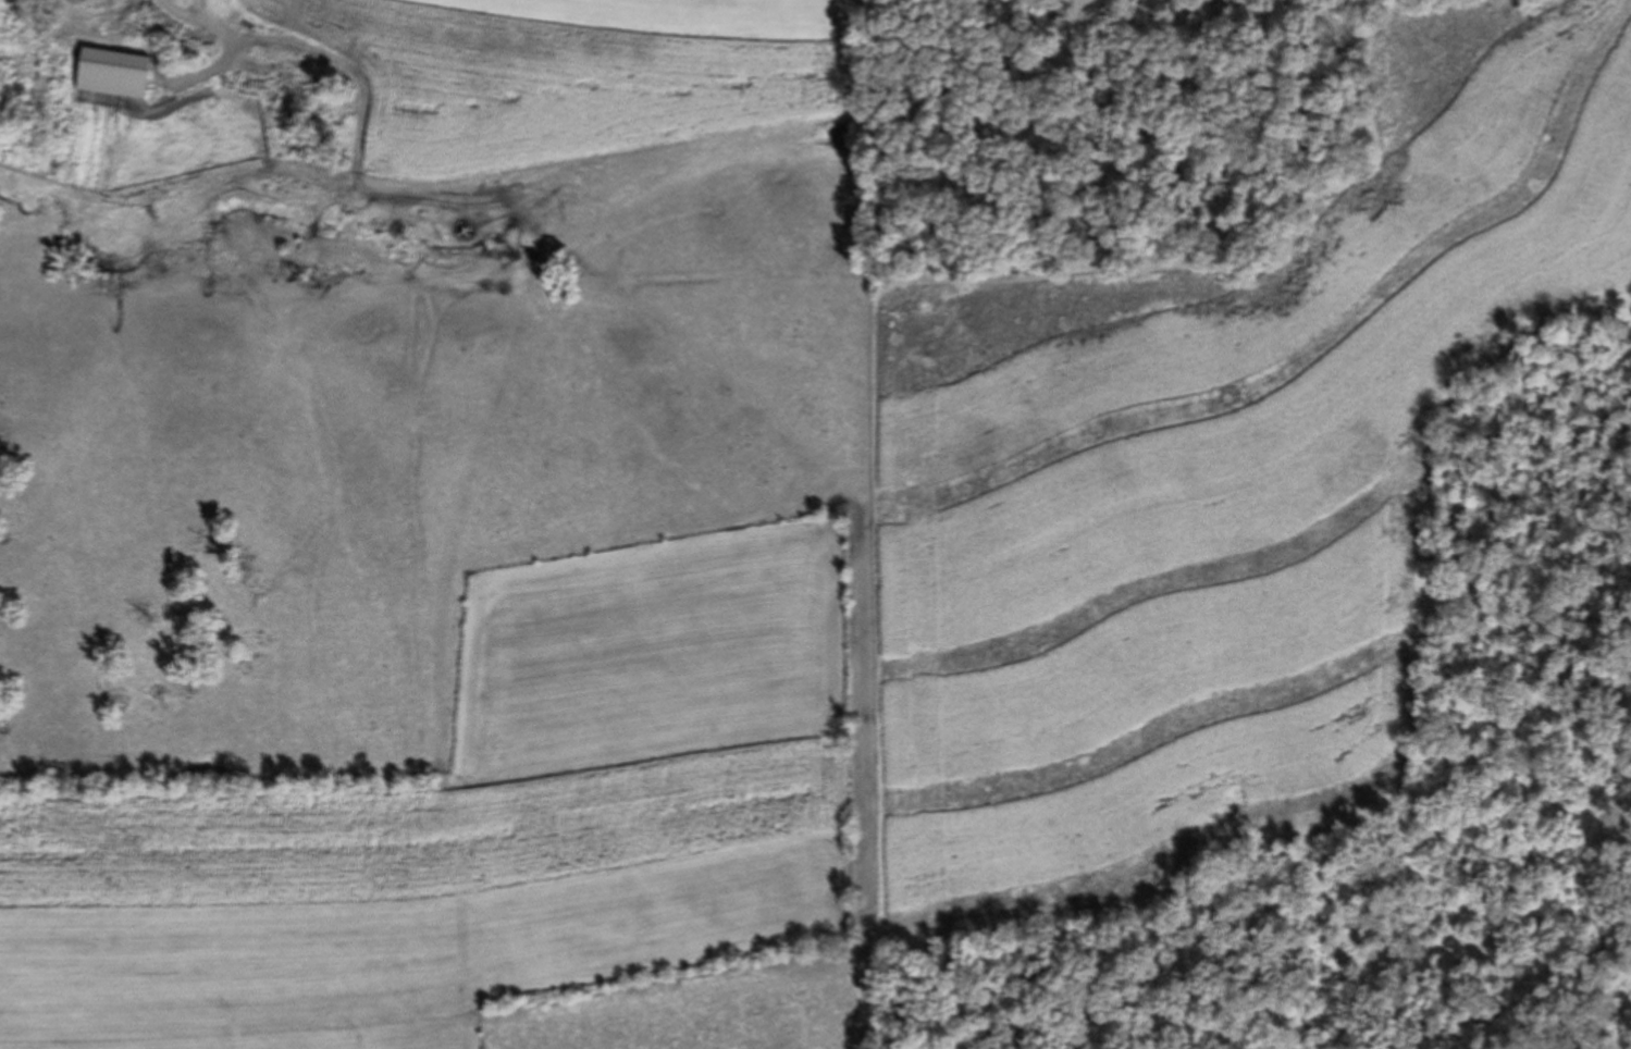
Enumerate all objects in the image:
building: (116, 74)

